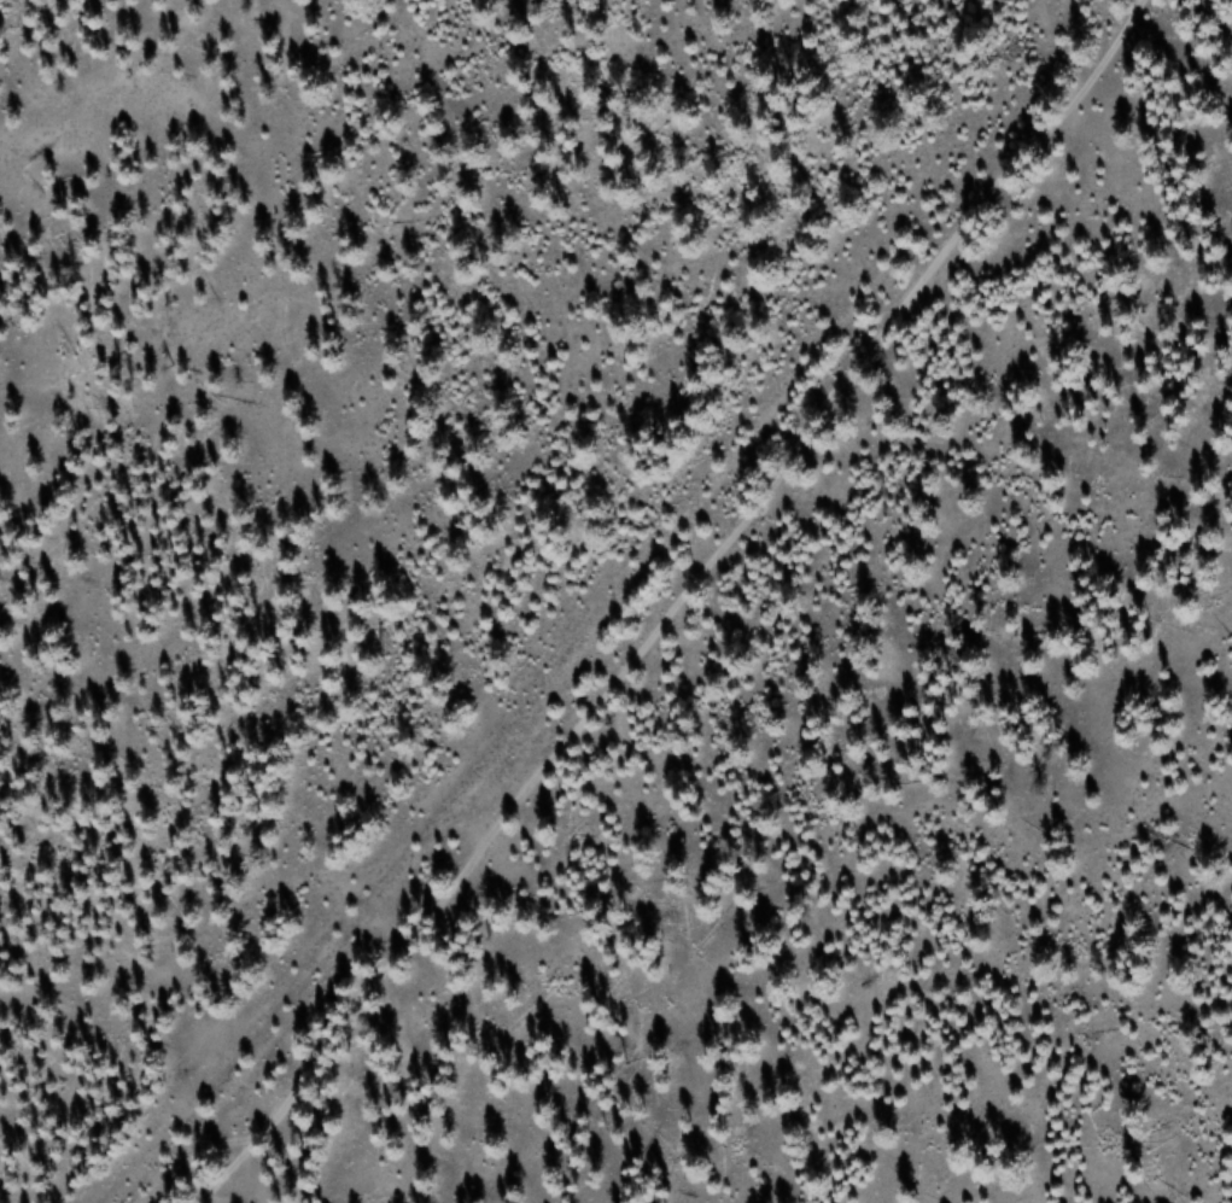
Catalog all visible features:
road: (676, 605)

